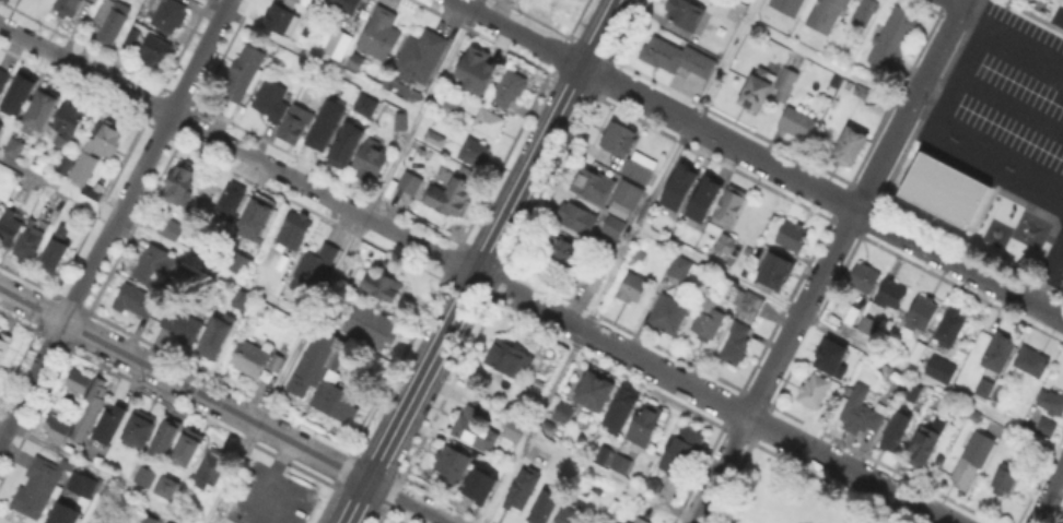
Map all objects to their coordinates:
building: (572, 0)
building: (1062, 0)
road: (960, 1)
building: (292, 2)
building: (789, 5)
building: (68, 7)
building: (343, 8)
building: (867, 11)
building: (170, 14)
building: (827, 14)
building: (688, 16)
building: (110, 19)
building: (278, 19)
building: (291, 25)
building: (382, 34)
road: (1011, 35)
building: (893, 38)
building: (339, 44)
building: (148, 45)
building: (421, 55)
road: (313, 56)
building: (677, 59)
building: (357, 61)
building: (475, 61)
road: (827, 63)
building: (244, 73)
building: (3, 78)
building: (837, 81)
road: (990, 85)
building: (511, 86)
building: (475, 87)
building: (767, 87)
parking lot: (1016, 90)
building: (862, 92)
building: (13, 95)
building: (273, 99)
road: (1050, 102)
building: (452, 104)
building: (366, 105)
road: (1030, 106)
building: (43, 109)
building: (401, 120)
building: (69, 121)
building: (490, 121)
building: (797, 123)
building: (296, 124)
building: (0, 126)
building: (327, 126)
road: (950, 126)
building: (616, 136)
building: (435, 138)
building: (109, 140)
building: (349, 142)
building: (16, 146)
building: (851, 146)
building: (475, 152)
road: (1052, 152)
road: (759, 158)
building: (371, 159)
building: (79, 166)
building: (634, 169)
building: (410, 181)
building: (179, 183)
building: (593, 185)
building: (677, 185)
building: (947, 192)
building: (629, 195)
building: (453, 197)
building: (701, 197)
building: (231, 200)
building: (258, 216)
building: (577, 217)
building: (726, 218)
road: (115, 219)
building: (10, 224)
building: (615, 227)
building: (171, 228)
building: (295, 230)
building: (792, 236)
road: (155, 237)
building: (30, 242)
building: (57, 248)
building: (563, 249)
road: (618, 260)
building: (636, 260)
road: (341, 261)
road: (483, 261)
road: (828, 261)
building: (156, 263)
building: (242, 263)
building: (680, 269)
building: (314, 270)
building: (776, 272)
road: (476, 273)
building: (865, 278)
building: (596, 280)
building: (383, 283)
building: (632, 289)
building: (890, 297)
building: (243, 298)
building: (138, 301)
building: (668, 316)
building: (852, 316)
building: (922, 317)
building: (708, 322)
building: (183, 324)
building: (867, 325)
building: (372, 326)
building: (950, 329)
building: (740, 331)
building: (219, 336)
road: (849, 340)
building: (3, 343)
building: (916, 353)
building: (1000, 353)
building: (829, 356)
building: (509, 357)
building: (252, 358)
building: (273, 361)
building: (1032, 362)
building: (938, 368)
building: (325, 378)
building: (981, 385)
building: (596, 390)
building: (815, 392)
building: (914, 393)
building: (1001, 394)
building: (564, 404)
building: (1052, 404)
road: (223, 405)
building: (93, 407)
building: (621, 409)
building: (862, 413)
building: (110, 423)
building: (474, 425)
building: (645, 425)
building: (1048, 427)
building: (139, 428)
building: (514, 428)
building: (897, 433)
building: (166, 436)
building: (188, 447)
building: (923, 447)
building: (603, 452)
building: (681, 453)
building: (973, 461)
building: (453, 462)
building: (621, 464)
building: (211, 467)
road: (97, 472)
building: (147, 476)
building: (1001, 477)
road: (269, 478)
road: (610, 478)
building: (81, 483)
building: (39, 485)
building: (655, 485)
building: (474, 486)
building: (523, 486)
building: (167, 487)
park: (790, 497)
road: (1049, 497)
building: (632, 506)
building: (545, 507)
building: (611, 510)
building: (63, 513)
building: (570, 516)
building: (148, 519)
building: (624, 521)
building: (641, 521)
building: (93, 522)
building: (95, 522)
building: (166, 522)

